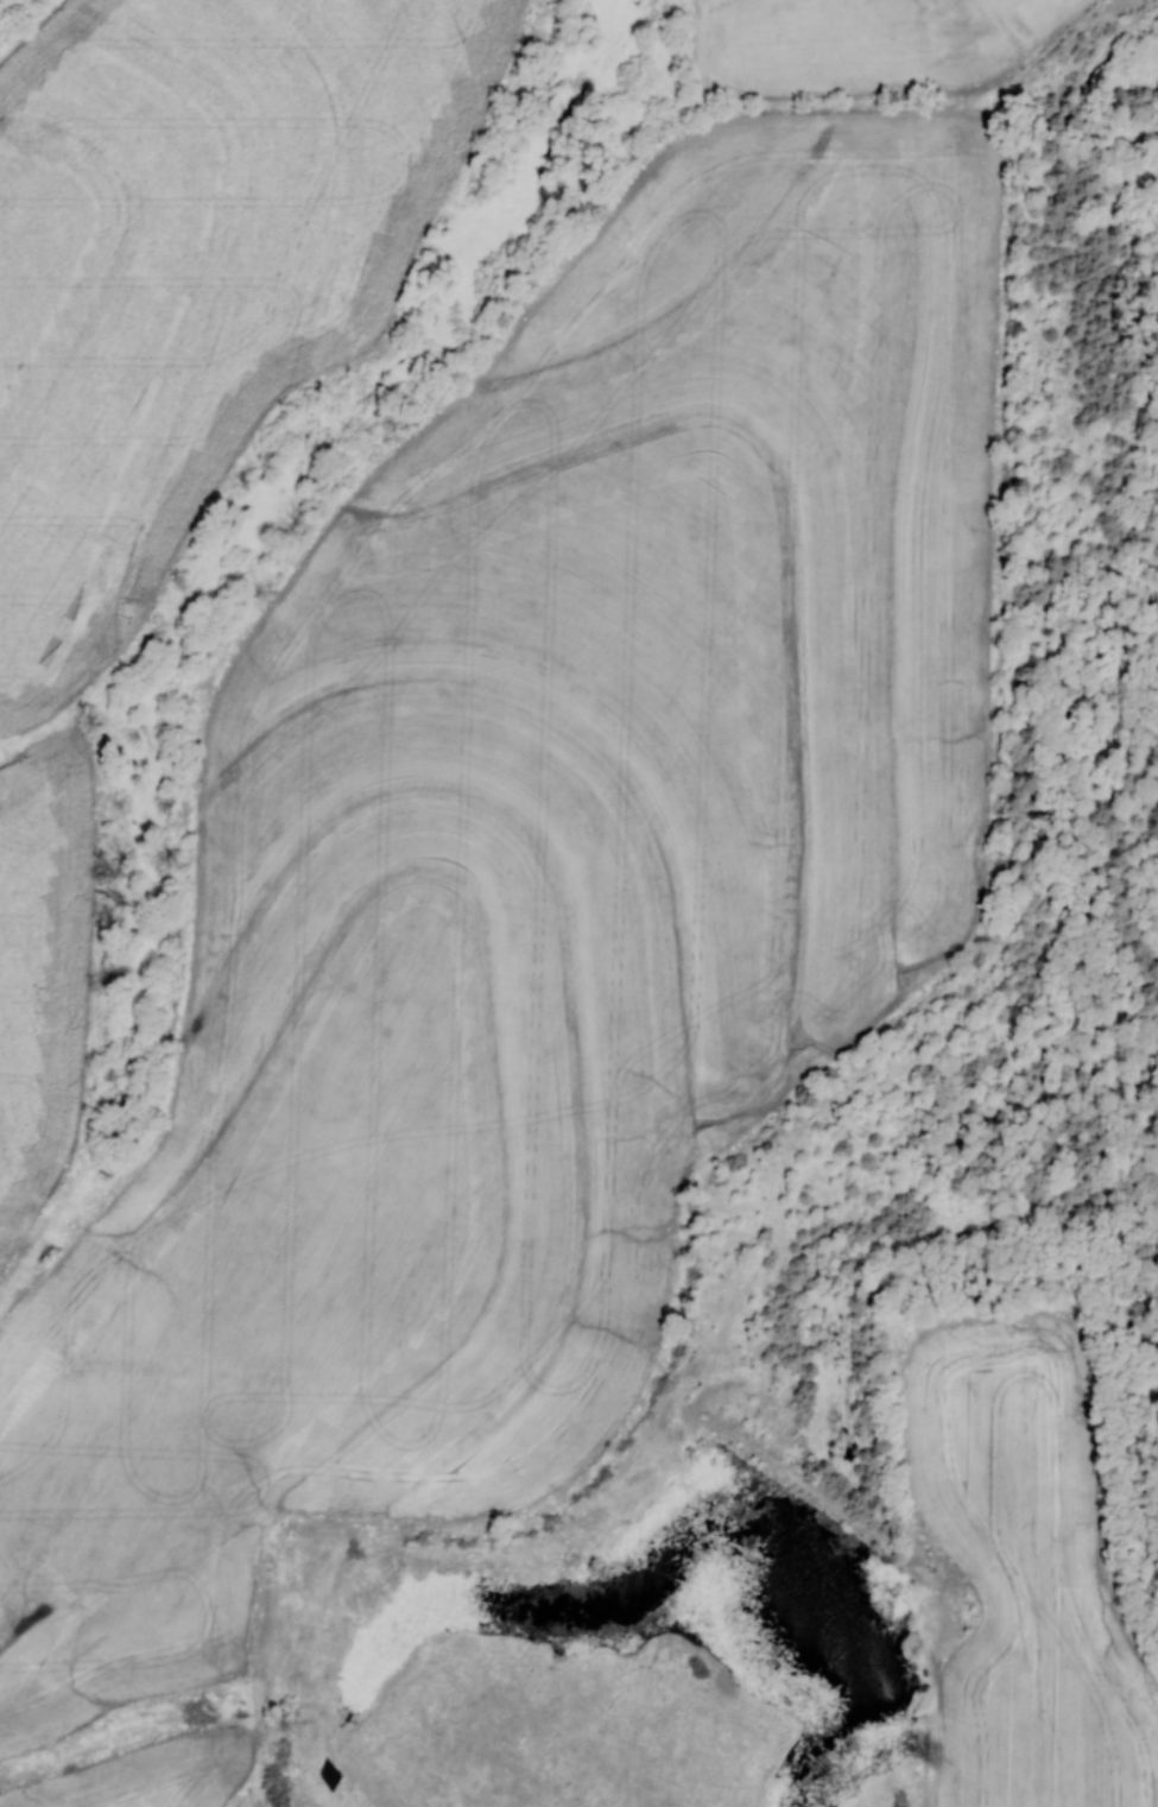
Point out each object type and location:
crop: (1025, 1567)

